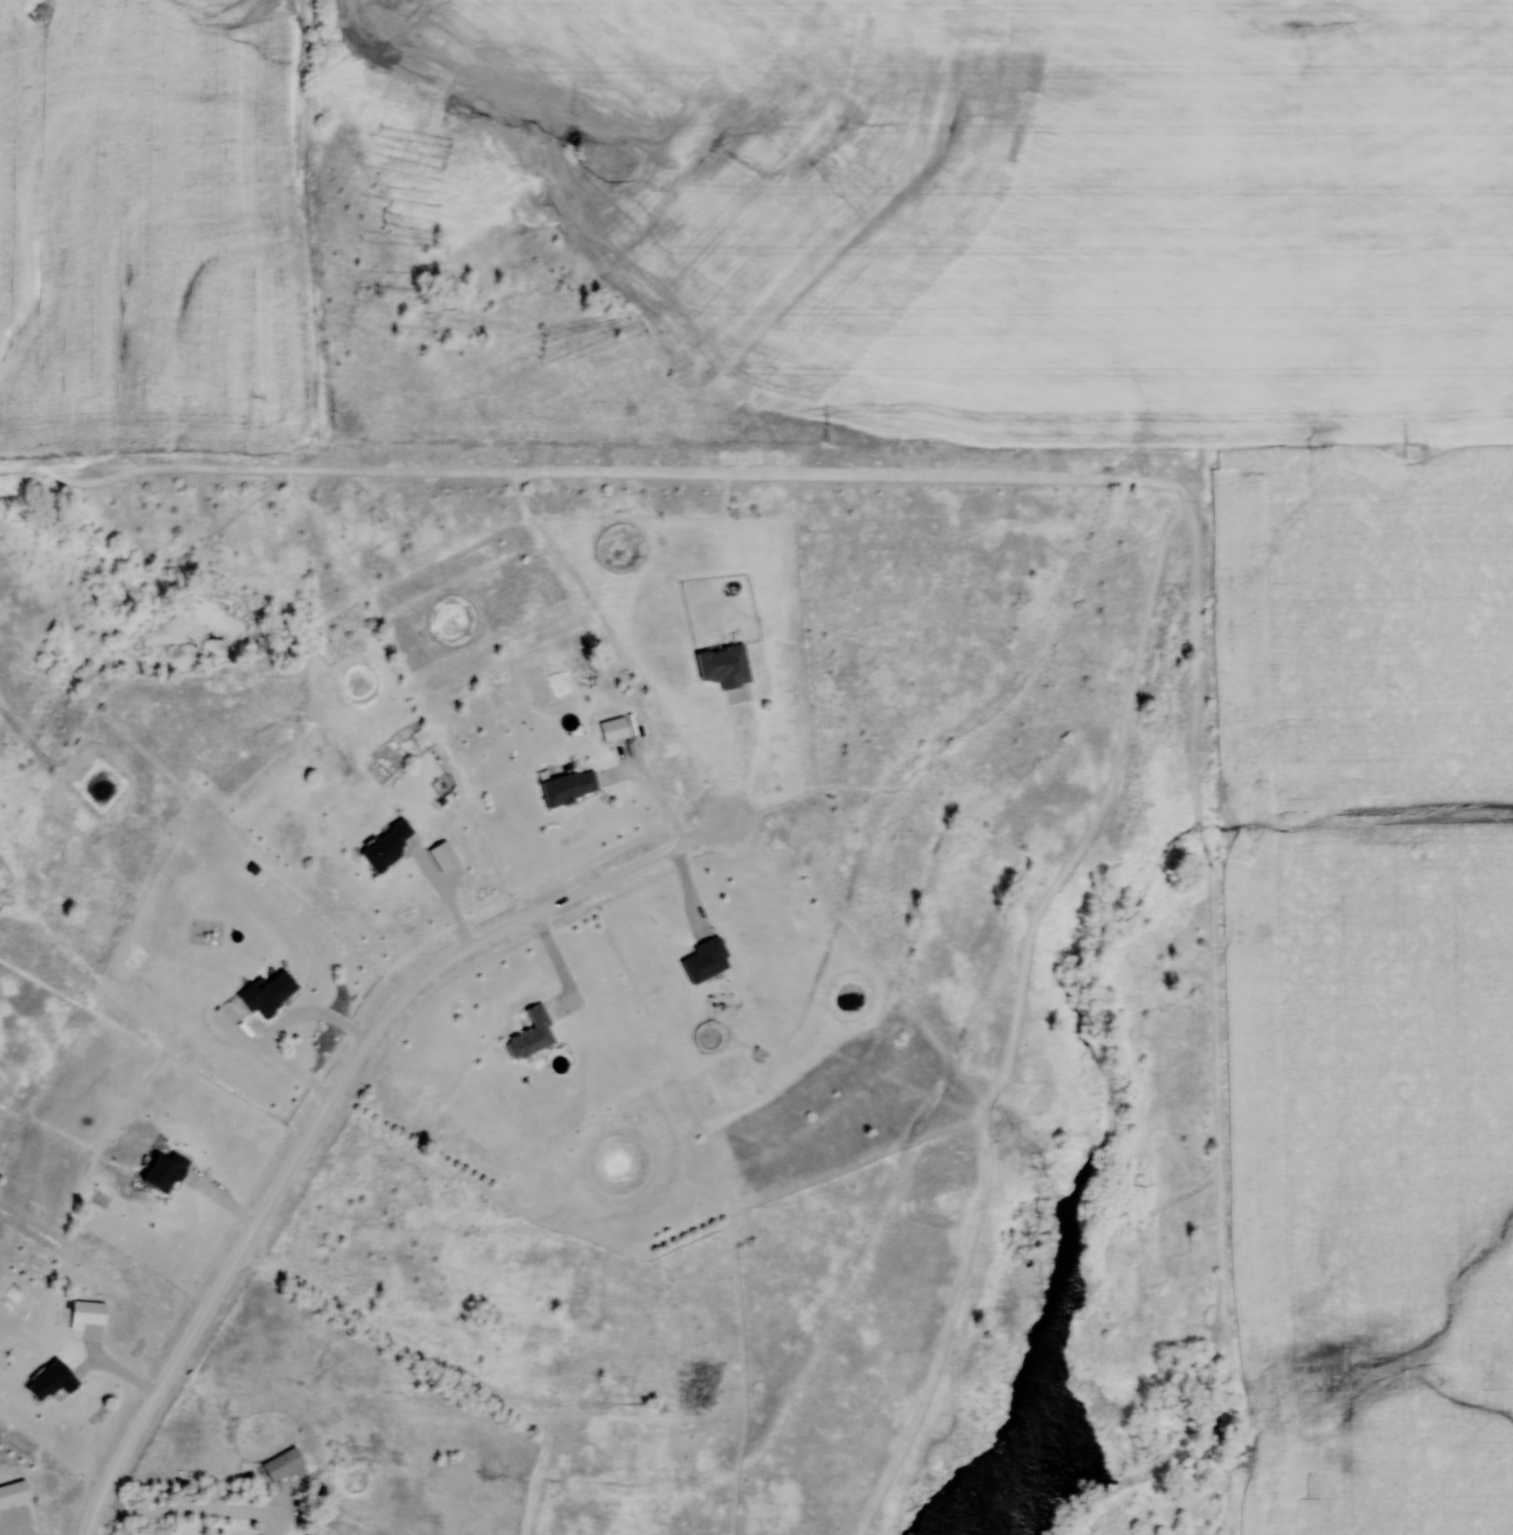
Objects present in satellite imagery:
power tower: (336, 421)
power tower: (833, 434)
power tower: (1411, 453)
building: (571, 787)
building: (388, 847)
building: (708, 960)
building: (270, 994)
building: (533, 1035)
road: (333, 1093)
building: (54, 1381)
building: (284, 1463)

